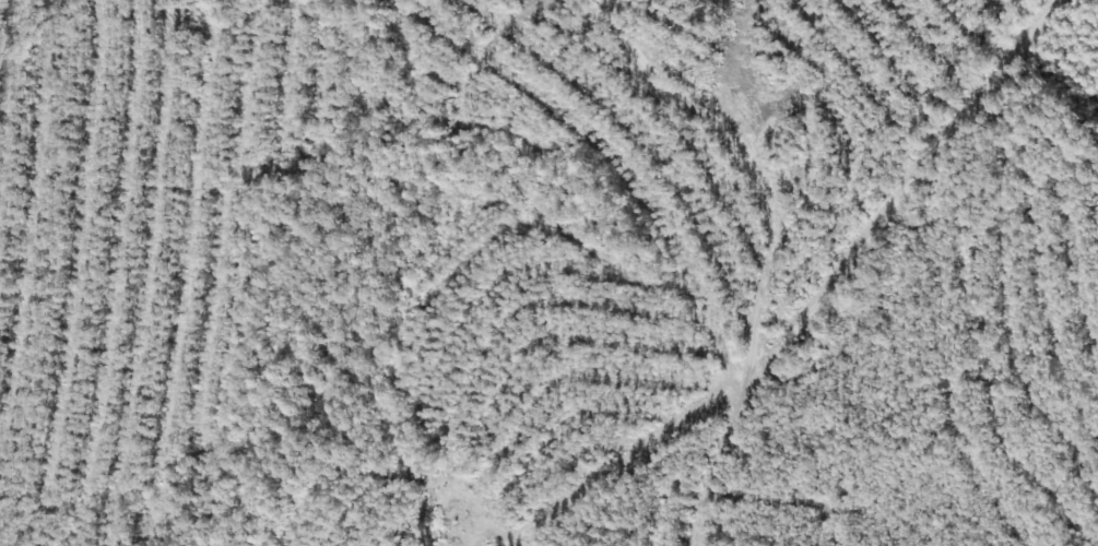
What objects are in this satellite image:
road: (817, 266)

